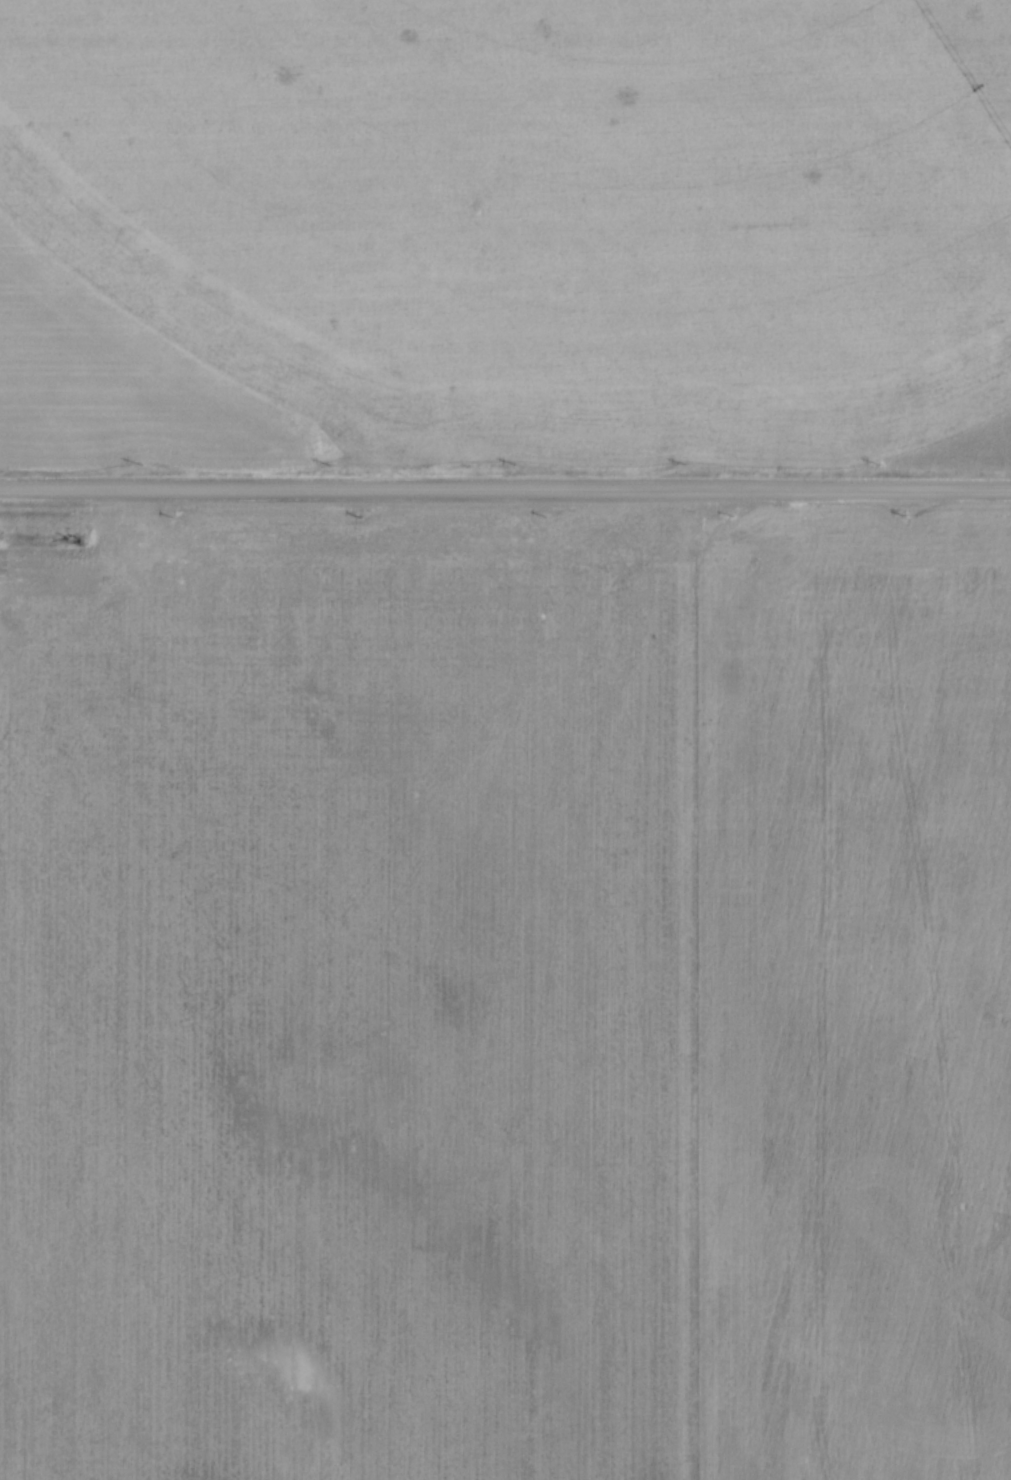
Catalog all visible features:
crop: (501, 235)
road: (505, 490)
crop: (507, 996)

